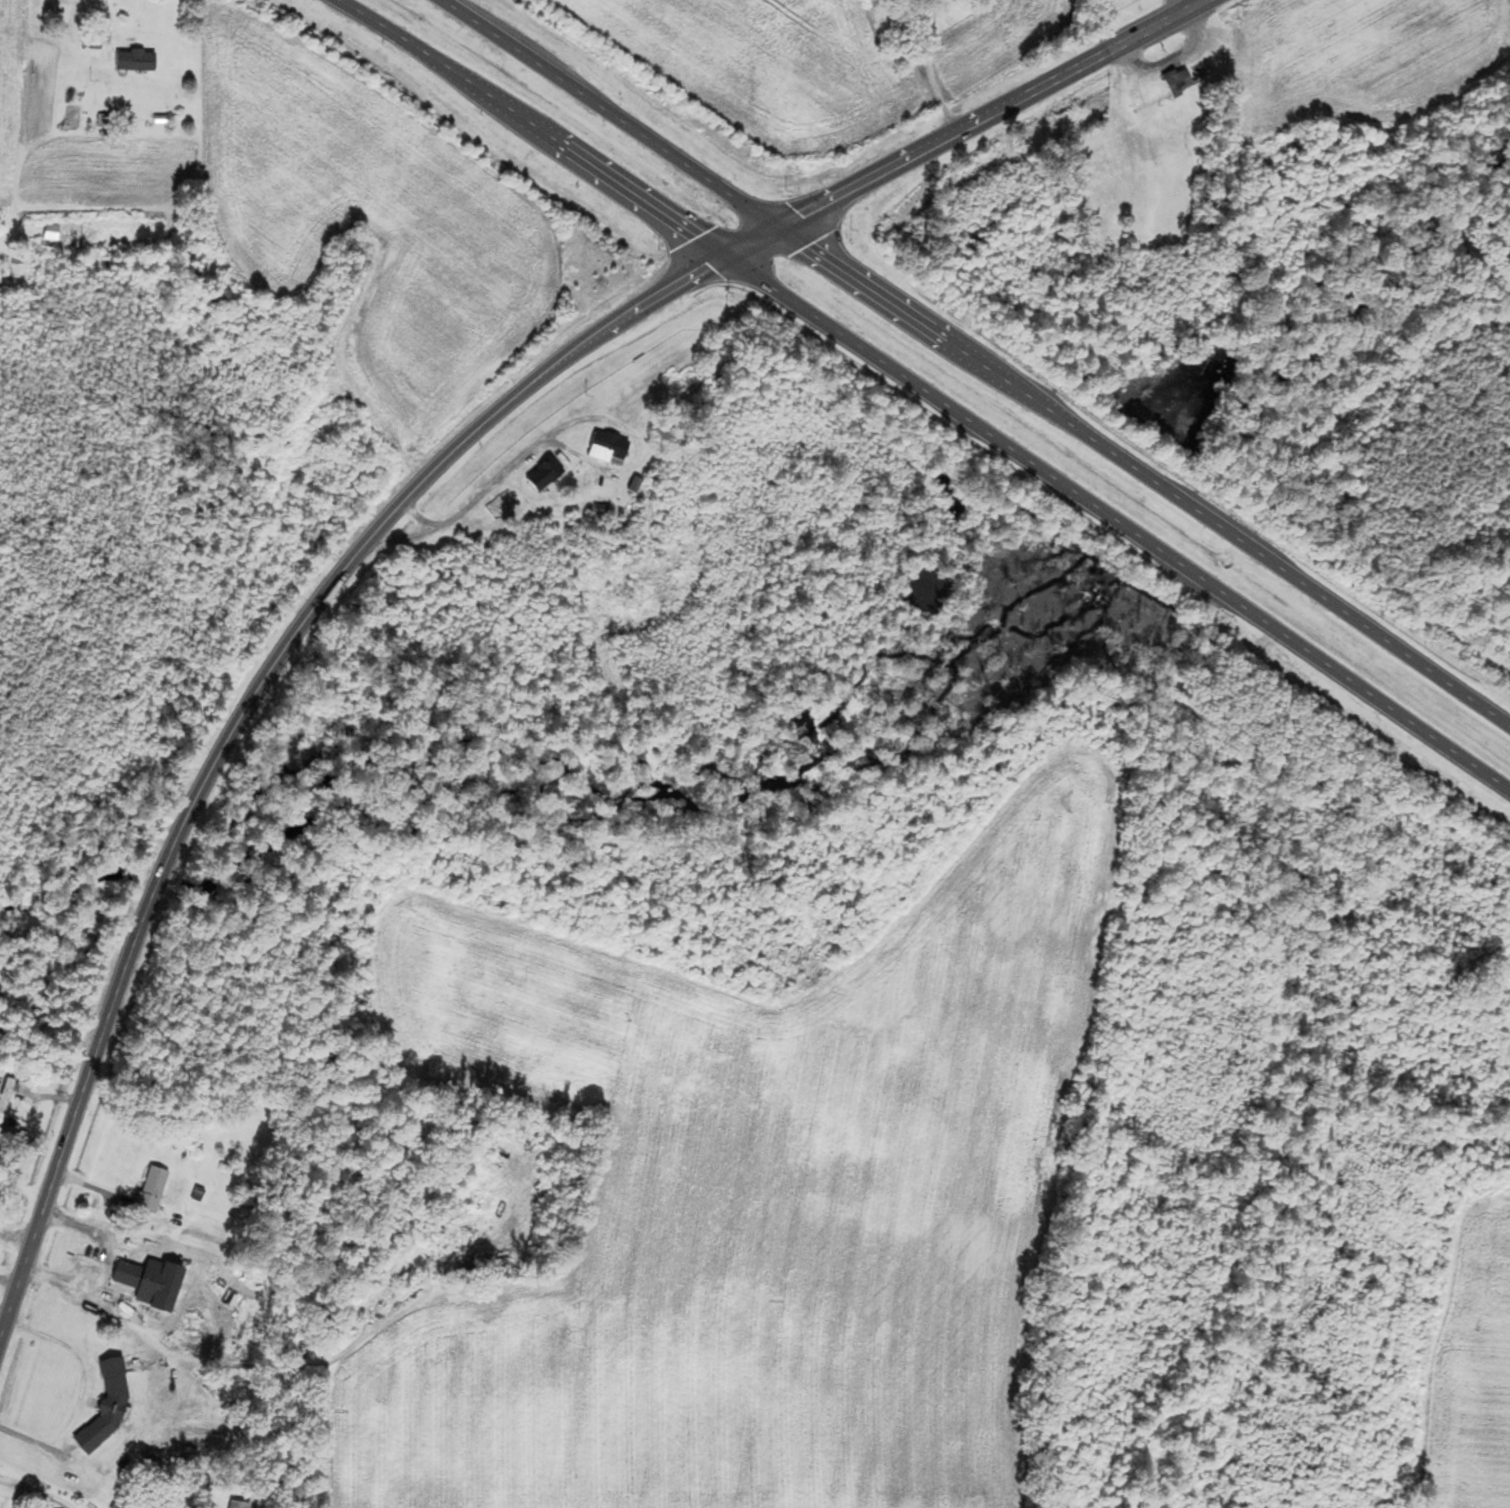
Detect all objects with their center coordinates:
road: (1183, 6)
road: (107, 20)
building: (135, 61)
building: (1181, 85)
road: (602, 111)
road: (989, 113)
road: (529, 123)
road: (744, 242)
building: (1117, 323)
building: (680, 379)
building: (609, 448)
road: (1141, 474)
building: (545, 475)
road: (1116, 520)
road: (242, 715)
building: (7, 1095)
building: (155, 1185)
building: (152, 1283)
building: (239, 1505)

